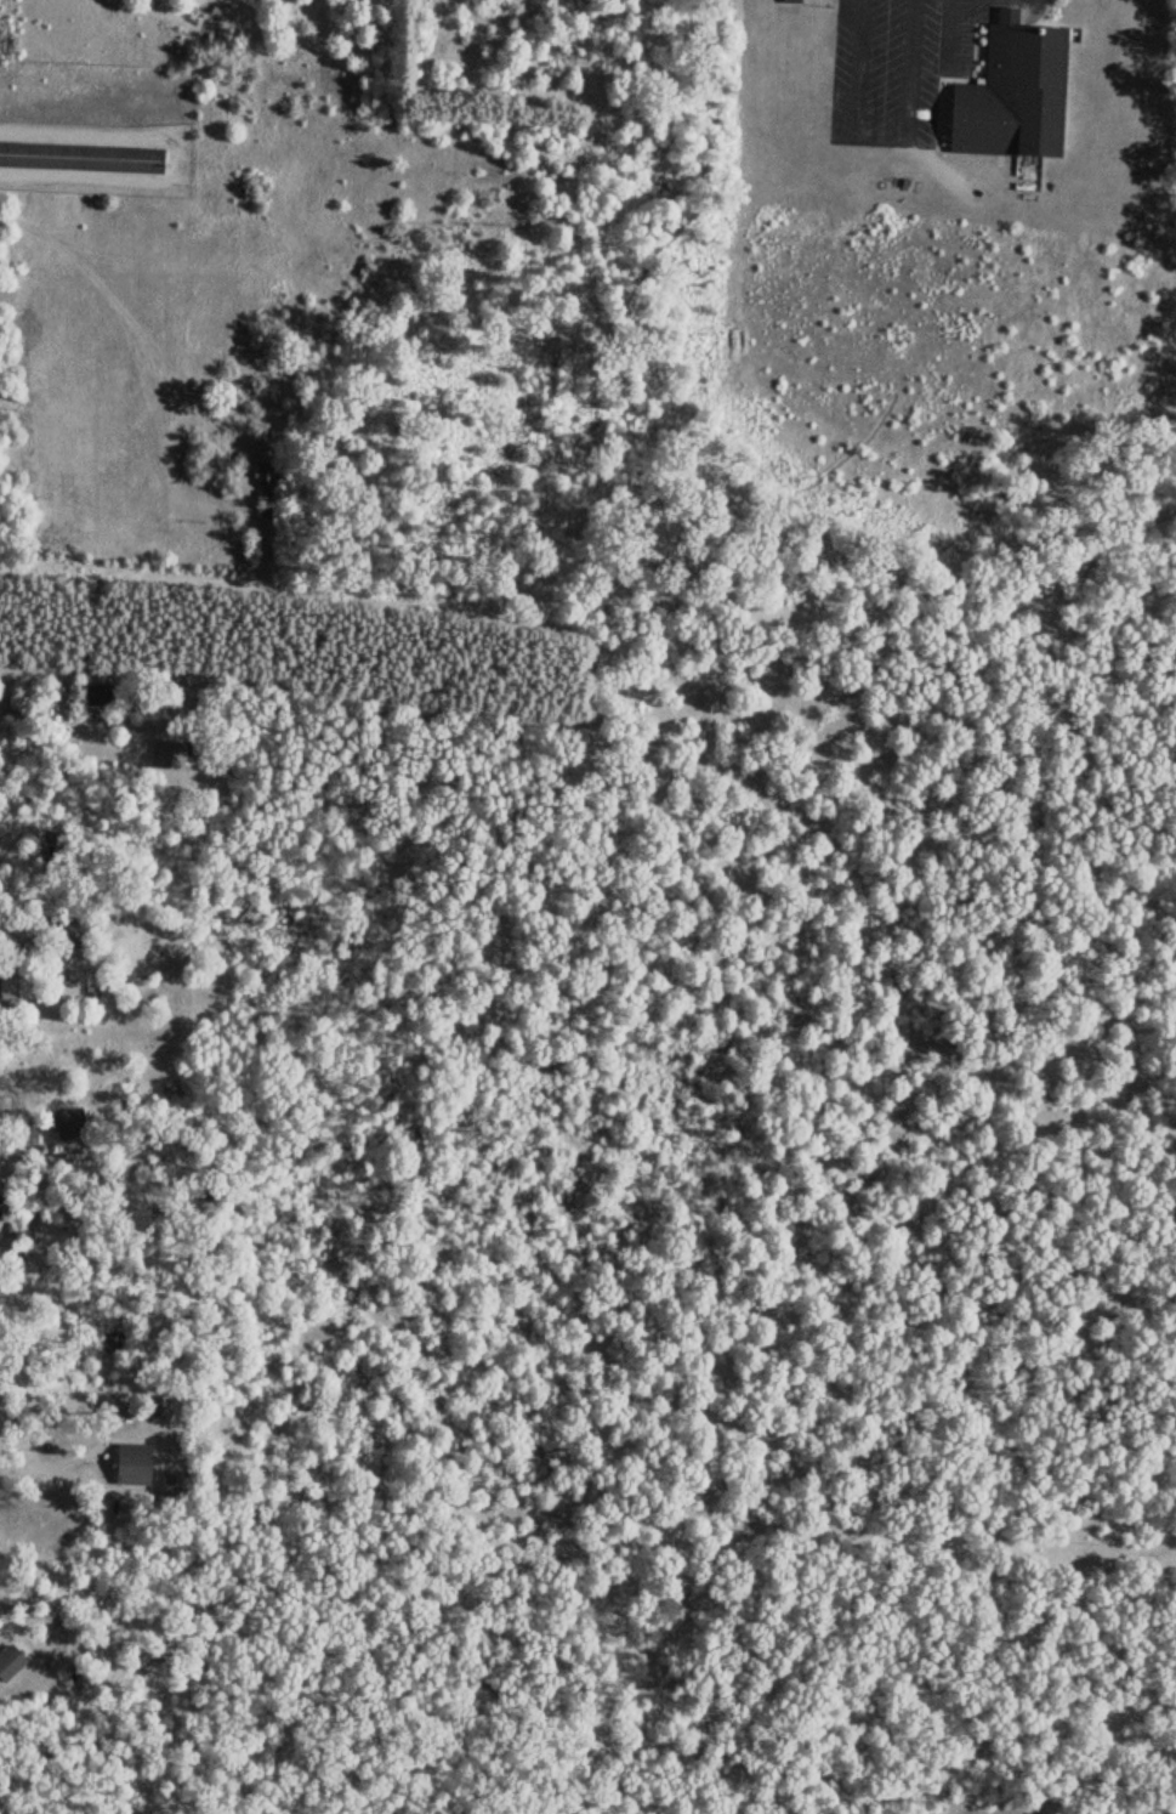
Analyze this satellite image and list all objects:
road: (948, 33)
parking lot: (903, 61)
building: (1011, 87)
road: (884, 137)
building: (81, 154)
building: (265, 471)
building: (97, 691)
building: (16, 704)
building: (172, 754)
building: (68, 930)
building: (70, 1121)
road: (379, 1364)
building: (160, 1406)
building: (132, 1462)
building: (175, 1481)
building: (23, 1529)
building: (8, 1659)

